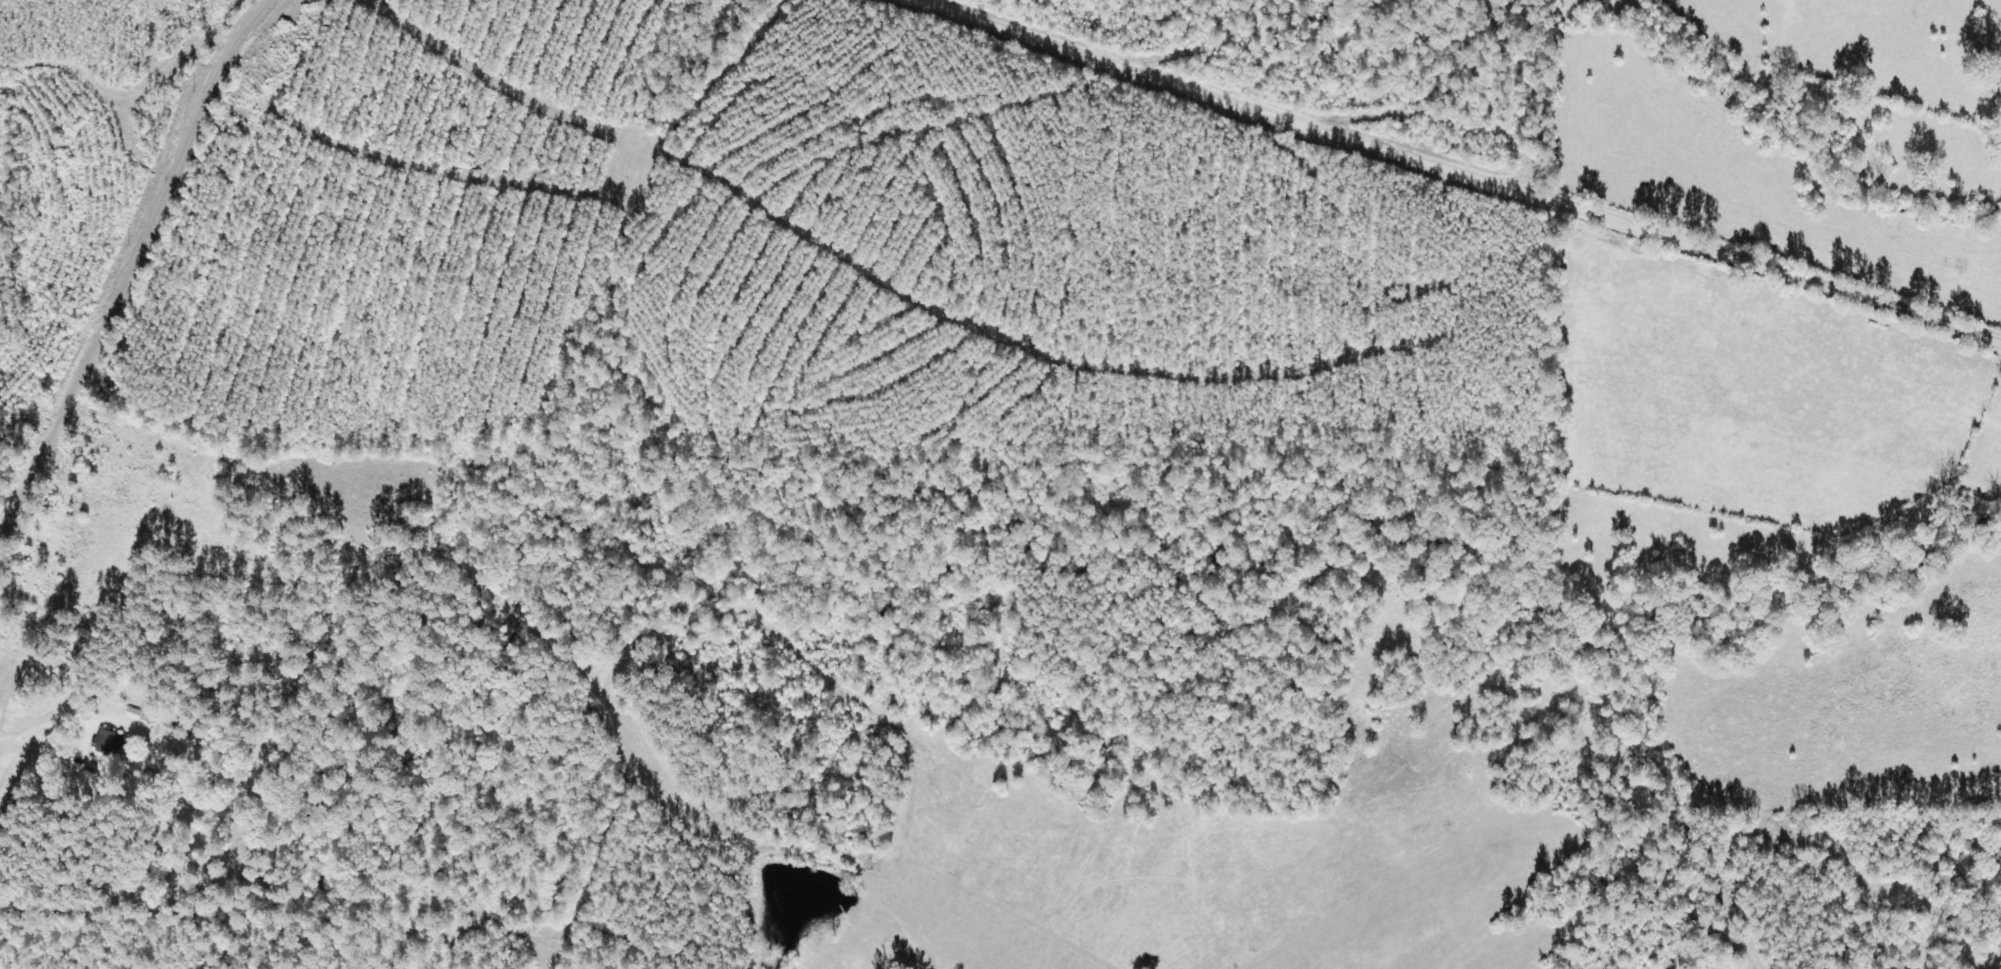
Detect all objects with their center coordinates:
road: (1448, 172)
road: (107, 213)
road: (1461, 965)

